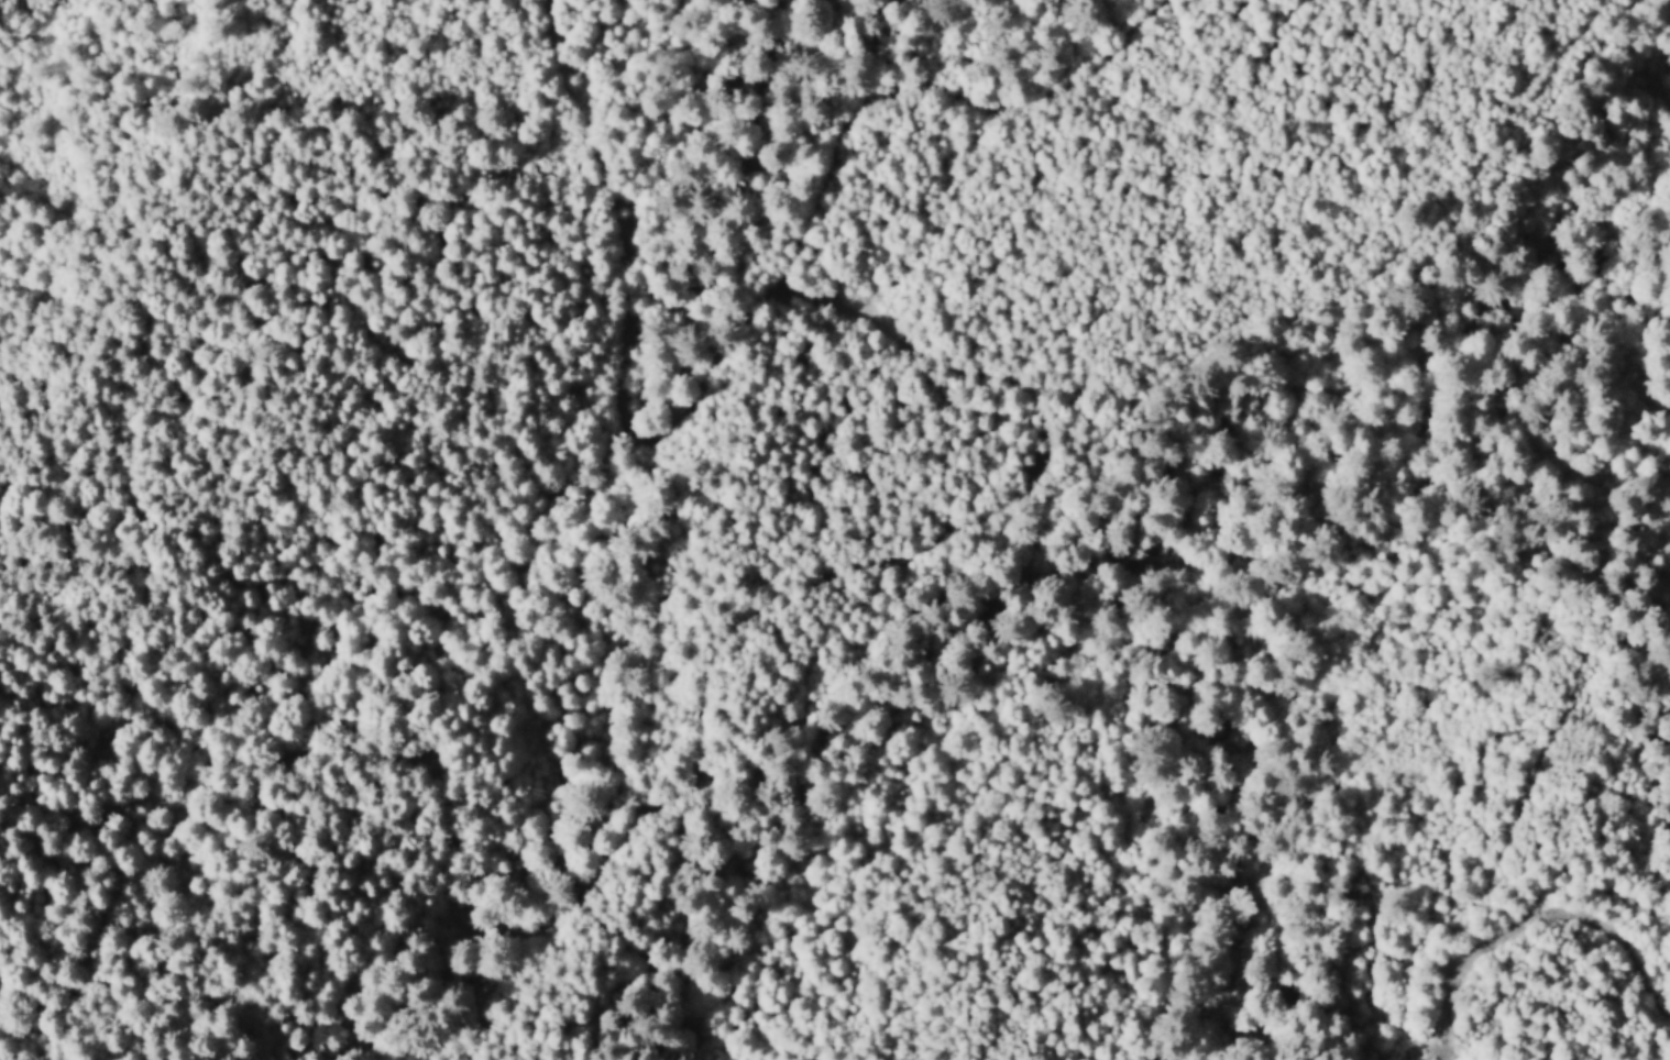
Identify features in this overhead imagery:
road: (1526, 943)

